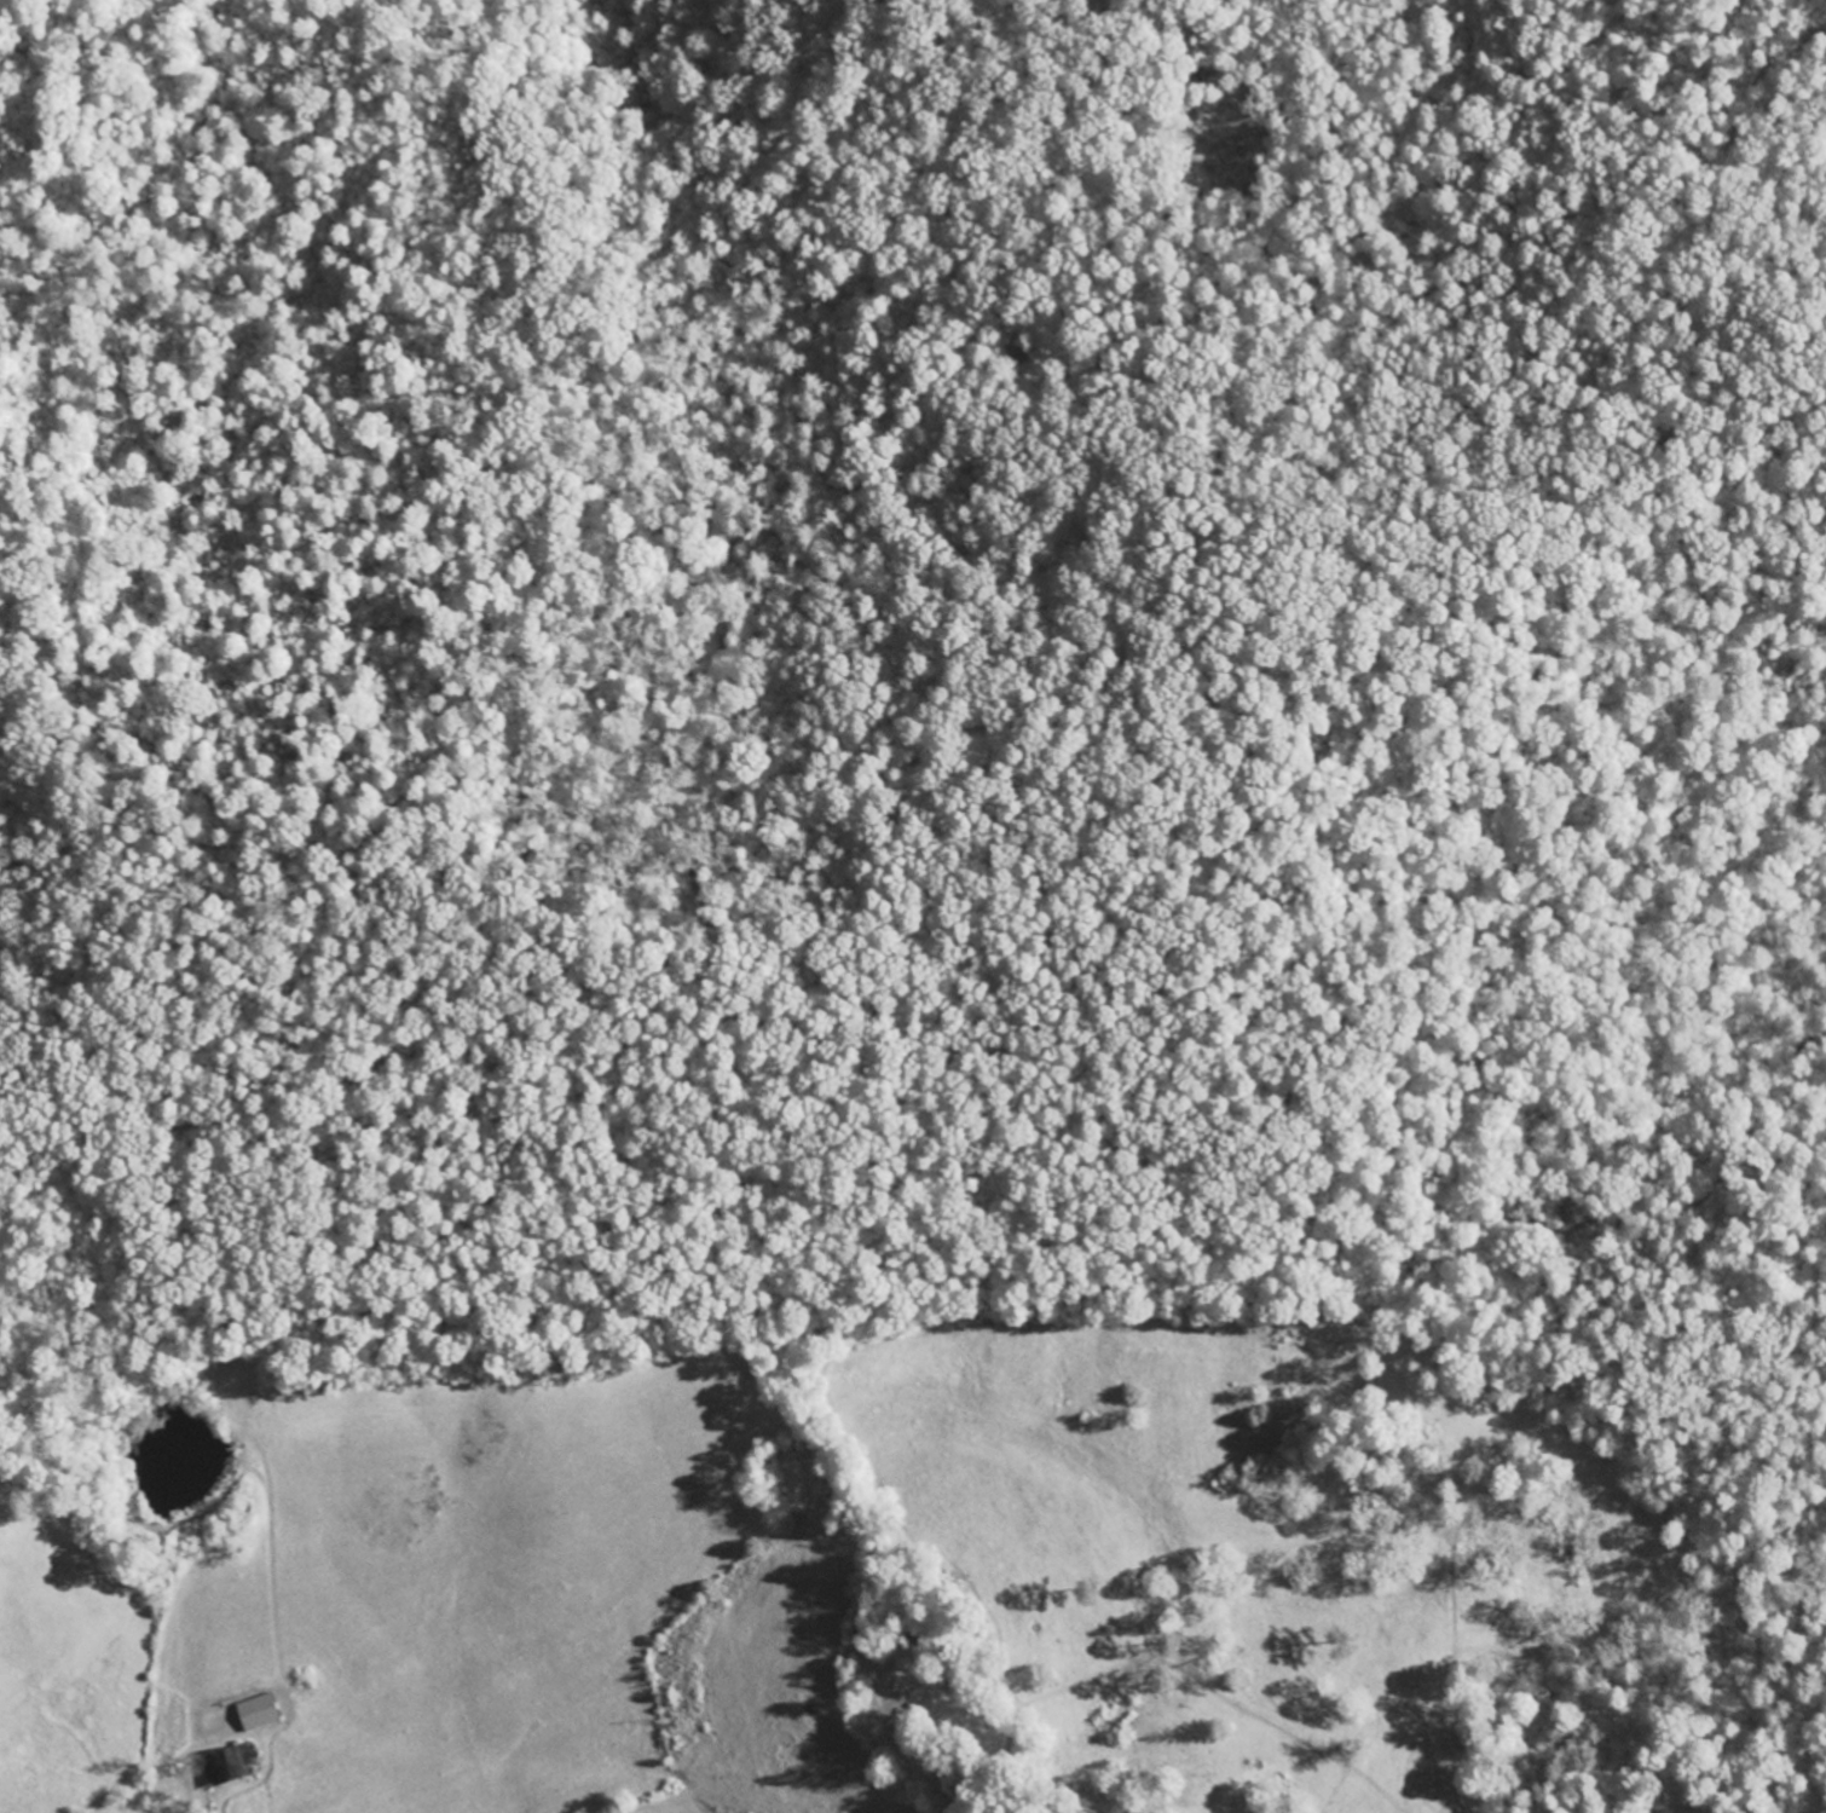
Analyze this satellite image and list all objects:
road: (1347, 1072)
road: (1566, 1688)
building: (264, 1713)
building: (237, 1765)

